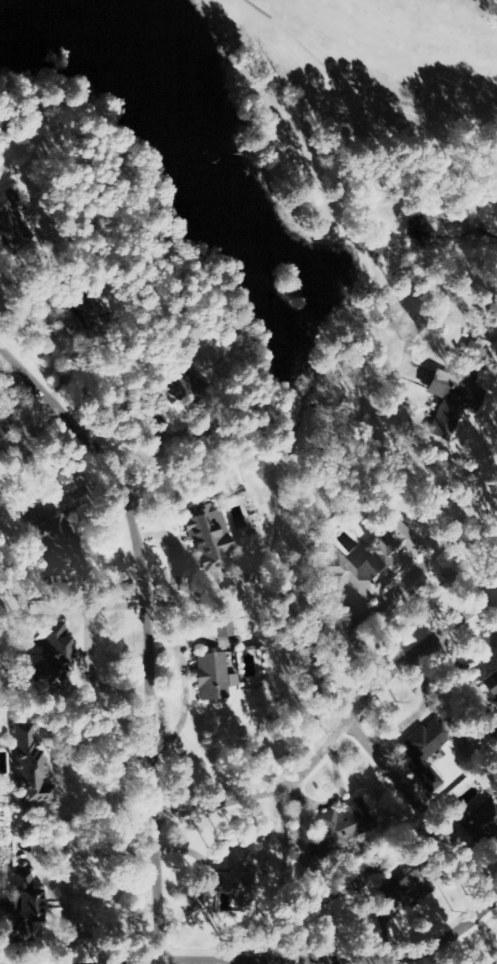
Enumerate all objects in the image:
park: (304, 135)
building: (12, 221)
building: (166, 386)
building: (458, 392)
building: (206, 538)
building: (54, 551)
building: (372, 562)
building: (222, 627)
road: (142, 634)
building: (51, 654)
building: (211, 676)
building: (490, 688)
road: (334, 727)
building: (421, 747)
building: (29, 766)
building: (480, 827)
building: (234, 874)
building: (405, 891)
building: (23, 901)
road: (336, 962)
road: (140, 963)

